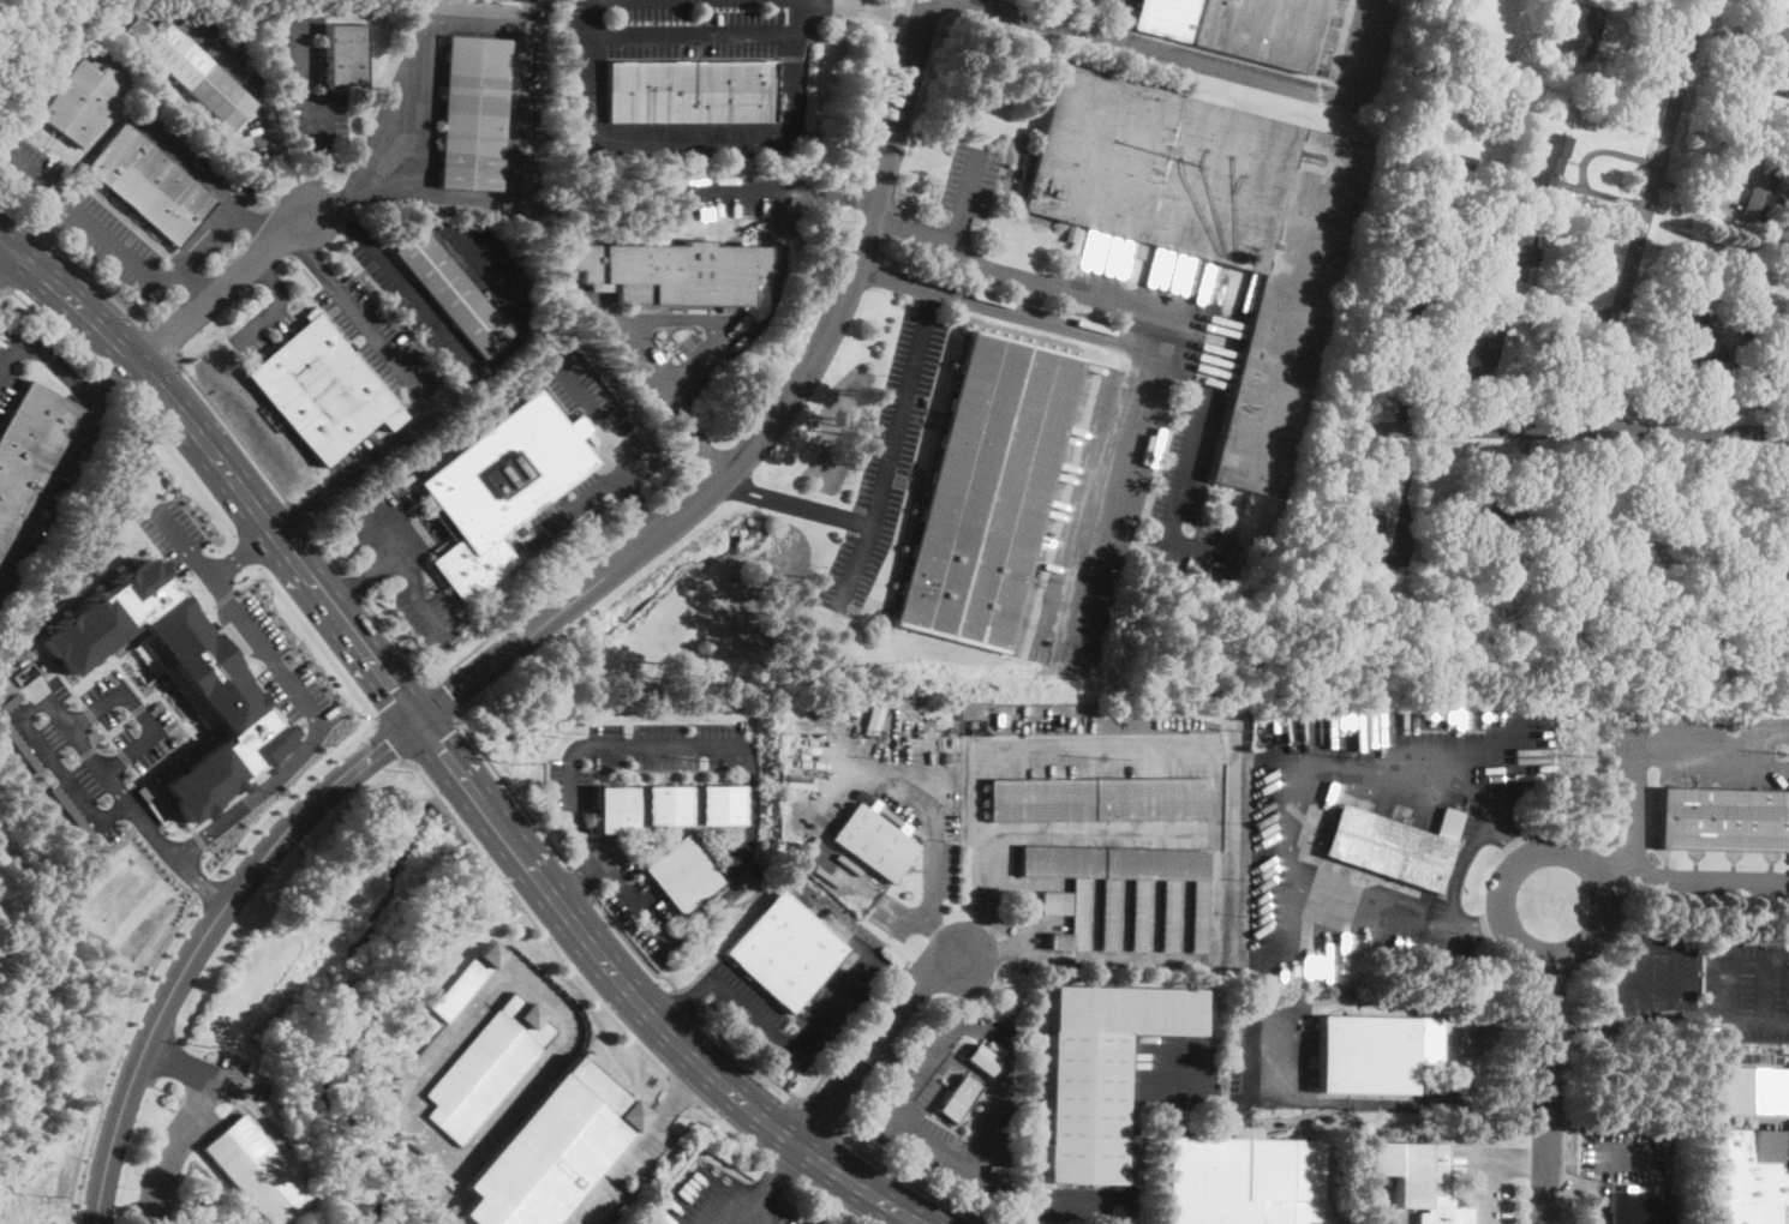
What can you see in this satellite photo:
road: (1101, 0)
road: (698, 1)
parking lot: (590, 2)
parking lot: (1103, 5)
parking lot: (674, 7)
road: (867, 7)
road: (1052, 11)
road: (901, 19)
building: (1238, 28)
building: (1765, 31)
building: (1581, 32)
road: (693, 34)
parking lot: (647, 53)
building: (1453, 53)
building: (345, 55)
road: (516, 55)
building: (1500, 59)
road: (1197, 60)
building: (190, 70)
road: (587, 70)
building: (1784, 80)
road: (251, 84)
building: (1450, 90)
building: (690, 91)
building: (85, 95)
road: (876, 112)
road: (22, 113)
building: (473, 113)
road: (316, 126)
building: (528, 128)
building: (1446, 137)
road: (755, 138)
parking lot: (179, 146)
building: (1551, 157)
road: (186, 161)
road: (26, 162)
building: (1459, 164)
road: (1580, 166)
parking lot: (30, 170)
building: (1023, 175)
parking lot: (970, 179)
building: (149, 185)
road: (293, 188)
road: (774, 188)
building: (1763, 191)
parking lot: (718, 194)
road: (345, 196)
road: (963, 196)
road: (1646, 216)
road: (334, 223)
road: (256, 224)
building: (1214, 229)
road: (205, 238)
parking lot: (109, 241)
road: (118, 242)
building: (1513, 252)
road: (5, 253)
road: (229, 256)
building: (1747, 268)
building: (1425, 269)
building: (677, 274)
road: (91, 275)
road: (1031, 281)
road: (196, 283)
road: (192, 284)
road: (2, 287)
road: (223, 288)
building: (1406, 289)
building: (455, 294)
road: (413, 295)
building: (1746, 301)
road: (275, 304)
road: (1007, 308)
parking lot: (419, 310)
building: (1399, 310)
building: (1742, 324)
road: (55, 328)
parking lot: (261, 328)
road: (632, 329)
road: (113, 337)
road: (164, 342)
building: (1703, 344)
road: (10, 347)
building: (1484, 347)
parking lot: (384, 348)
parking lot: (676, 348)
parking lot: (10, 365)
road: (59, 368)
road: (114, 378)
building: (322, 389)
road: (419, 395)
road: (770, 427)
road: (1575, 432)
road: (235, 433)
building: (30, 449)
road: (611, 450)
road: (888, 450)
road: (1113, 460)
parking lot: (885, 462)
road: (1185, 464)
road: (52, 484)
parking lot: (1191, 487)
road: (199, 488)
building: (501, 488)
road: (678, 491)
building: (987, 491)
parking lot: (575, 499)
road: (639, 503)
road: (794, 504)
building: (1709, 504)
parking lot: (47, 505)
road: (298, 512)
building: (1472, 512)
road: (648, 517)
building: (1598, 521)
building: (1668, 521)
building: (1521, 523)
building: (1365, 535)
road: (185, 545)
road: (325, 548)
building: (1785, 548)
road: (249, 551)
parking lot: (400, 562)
road: (412, 575)
road: (364, 577)
road: (250, 580)
building: (1596, 580)
road: (315, 583)
building: (1369, 587)
road: (355, 589)
building: (1625, 590)
road: (223, 596)
building: (1779, 598)
road: (535, 605)
building: (1598, 607)
road: (50, 612)
parking lot: (243, 619)
building: (1627, 624)
building: (1371, 641)
road: (317, 642)
road: (397, 646)
building: (1443, 647)
road: (252, 673)
building: (222, 691)
road: (399, 698)
road: (50, 700)
road: (163, 701)
road: (445, 702)
road: (138, 708)
road: (139, 710)
road: (90, 713)
traffic signals: (417, 719)
road: (119, 724)
road: (321, 727)
road: (108, 736)
road: (389, 740)
road: (432, 740)
road: (103, 742)
road: (1638, 743)
parking lot: (94, 750)
road: (991, 750)
power tower: (1782, 751)
road: (89, 752)
parking lot: (640, 754)
power tower: (1574, 754)
power tower: (1339, 755)
road: (124, 756)
power tower: (1105, 757)
power tower: (891, 758)
power tower: (702, 761)
power tower: (516, 762)
road: (754, 768)
road: (828, 781)
road: (292, 793)
road: (514, 794)
building: (1099, 799)
building: (722, 802)
road: (160, 803)
building: (668, 803)
building: (616, 806)
road: (1296, 806)
building: (1723, 820)
road: (554, 827)
road: (1138, 832)
road: (199, 840)
building: (873, 841)
building: (1393, 847)
parking lot: (735, 853)
road: (522, 856)
road: (204, 868)
building: (683, 874)
road: (1664, 877)
road: (578, 880)
road: (582, 884)
parking lot: (1725, 884)
road: (208, 888)
parking lot: (632, 896)
road: (1551, 902)
building: (1064, 905)
power tower: (343, 919)
road: (532, 924)
road: (203, 938)
road: (634, 949)
building: (785, 952)
road: (1155, 960)
road: (1747, 961)
road: (904, 962)
road: (1632, 965)
parking lot: (1652, 973)
road: (894, 974)
road: (521, 977)
road: (151, 979)
building: (467, 979)
road: (894, 979)
parking lot: (1746, 988)
park: (1788, 989)
road: (688, 1003)
road: (689, 1003)
parking lot: (748, 1010)
road: (1735, 1015)
road: (1581, 1025)
road: (875, 1043)
power tower: (208, 1044)
road: (797, 1046)
parking lot: (1269, 1048)
parking lot: (974, 1051)
building: (1374, 1052)
road: (178, 1062)
road: (1546, 1063)
road: (894, 1064)
building: (487, 1066)
building: (1100, 1070)
parking lot: (1174, 1072)
road: (640, 1076)
road: (688, 1082)
building: (1751, 1087)
road: (164, 1091)
road: (682, 1091)
road: (806, 1098)
building: (958, 1099)
road: (1390, 1103)
road: (702, 1109)
road: (196, 1115)
road: (819, 1115)
road: (766, 1120)
road: (183, 1124)
parking lot: (186, 1129)
road: (993, 1132)
parking lot: (947, 1138)
road: (1133, 1147)
building: (552, 1148)
road: (628, 1154)
road: (1515, 1159)
parking lot: (1617, 1165)
building: (255, 1168)
building: (1749, 1176)
building: (1417, 1178)
road: (904, 1180)
building: (1244, 1180)
road: (1591, 1182)
road: (1567, 1183)
road: (771, 1186)
power tower: (46, 1192)
road: (1491, 1192)
parking lot: (1490, 1199)
parking lot: (716, 1200)
parking lot: (1073, 1202)
building: (1640, 1206)
road: (441, 1207)
road: (1131, 1212)
road: (579, 1217)
parking lot: (788, 1219)

